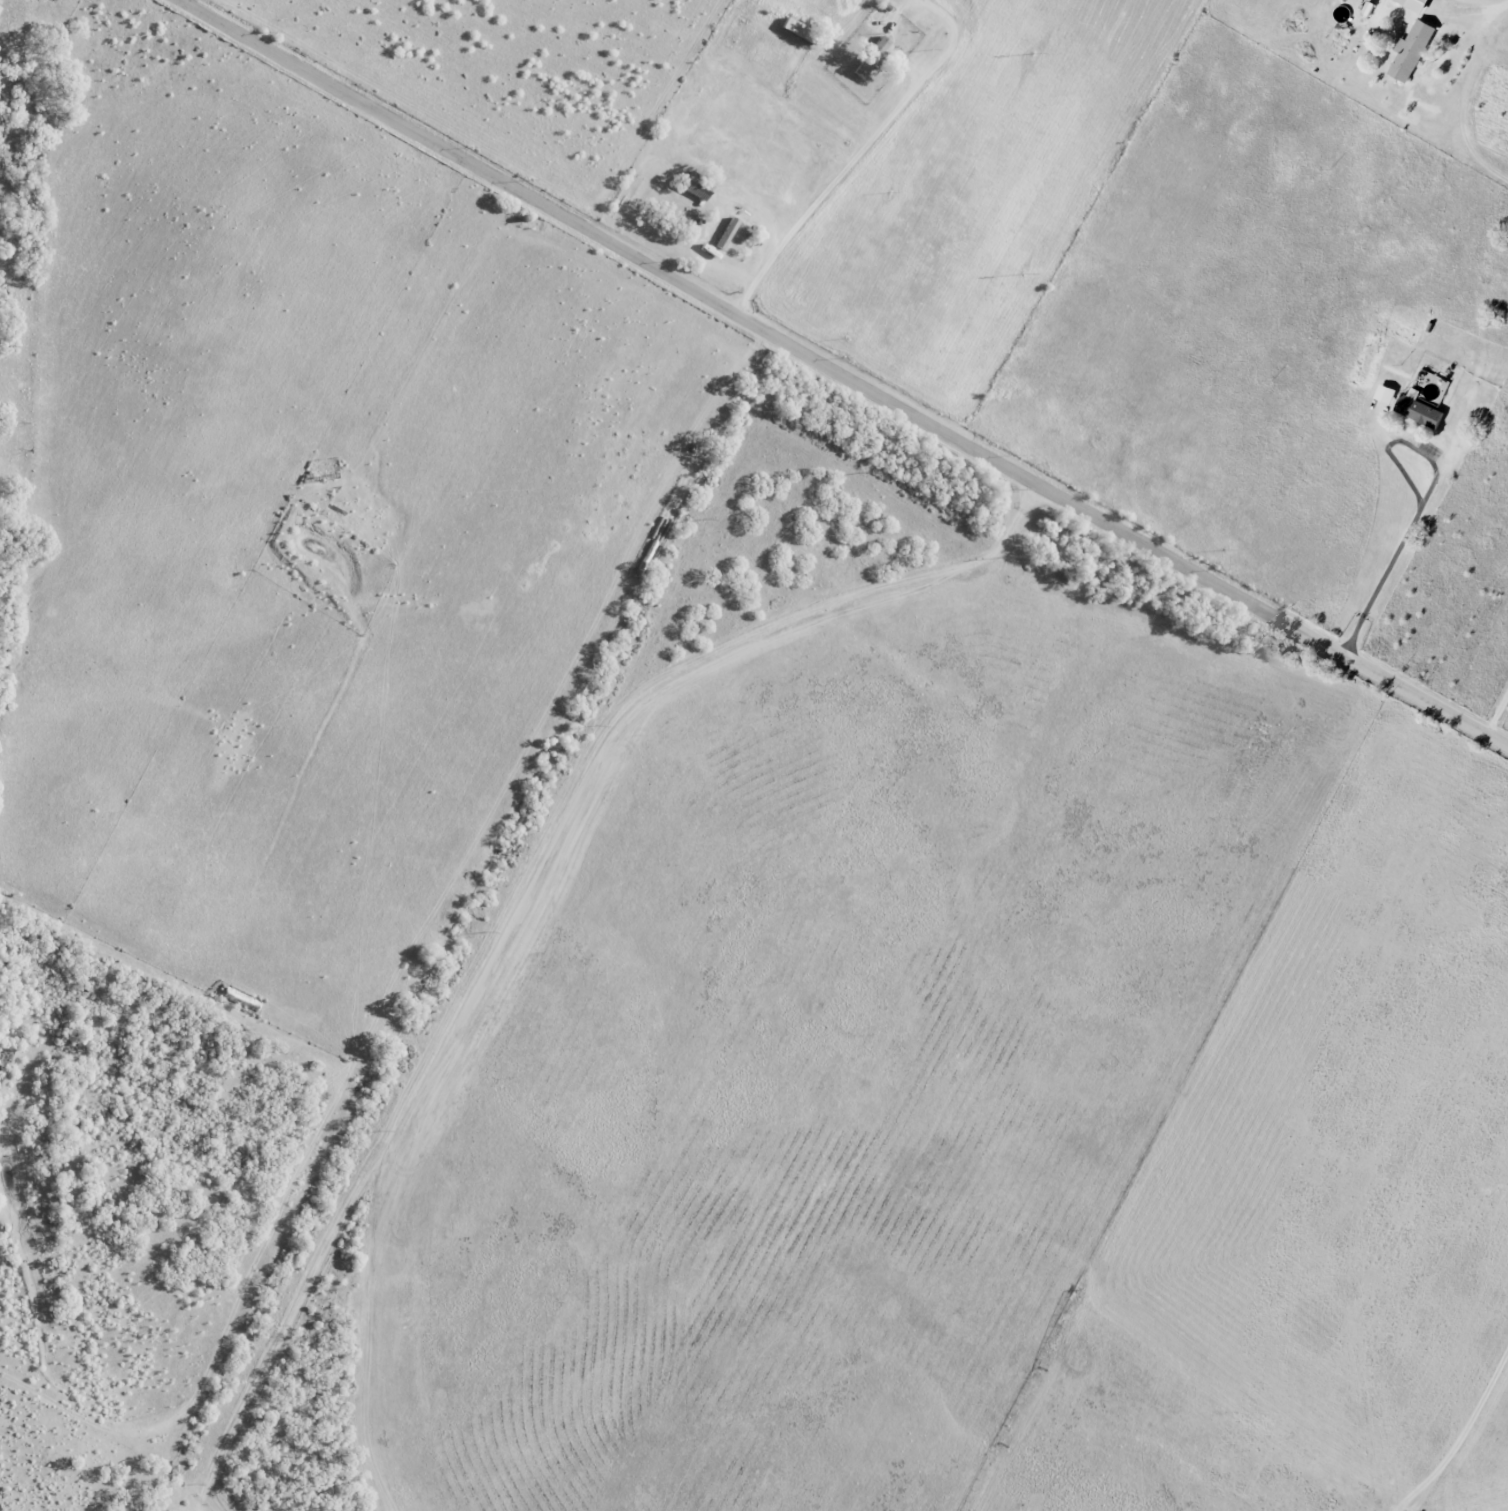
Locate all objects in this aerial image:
building: (1413, 4)
building: (1367, 9)
building: (1410, 51)
power tower: (1035, 55)
building: (870, 56)
road: (1462, 93)
road: (841, 176)
building: (726, 233)
power tower: (1025, 276)
road: (843, 373)
building: (1385, 394)
building: (1417, 409)
power tower: (763, 410)
power tower: (868, 474)
power tower: (1015, 490)
power tower: (708, 520)
road: (1414, 524)
power tower: (1012, 557)
road: (1497, 712)
power tower: (597, 727)
power tower: (488, 934)
power tower: (383, 1133)
power tower: (279, 1327)
power tower: (195, 1487)

